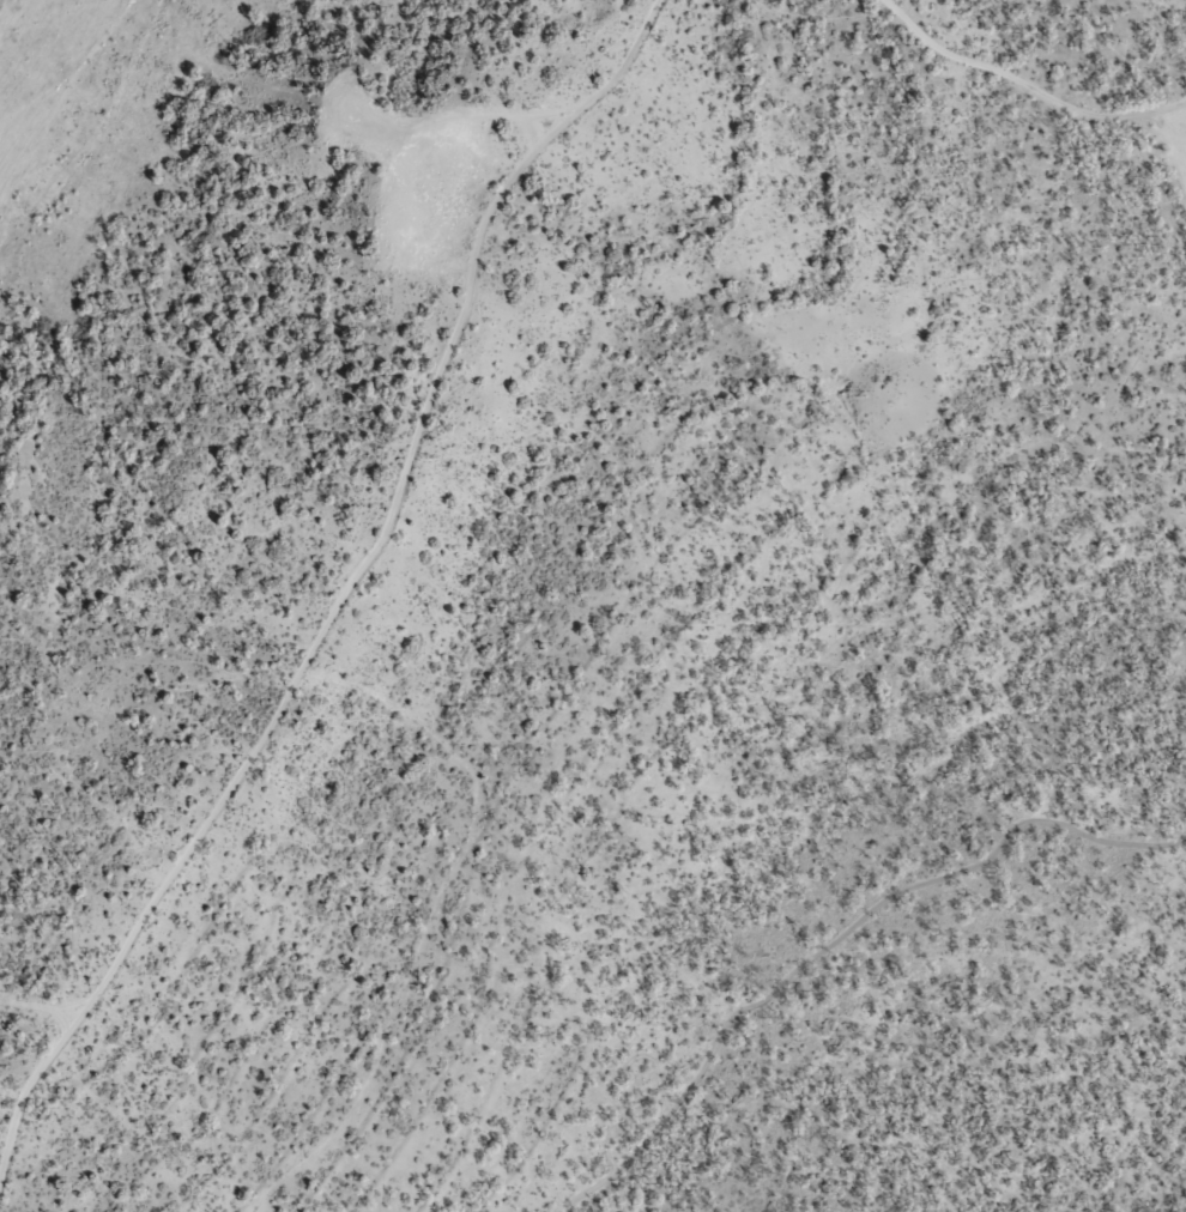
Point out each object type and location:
road: (1031, 72)
road: (341, 611)
road: (857, 941)

